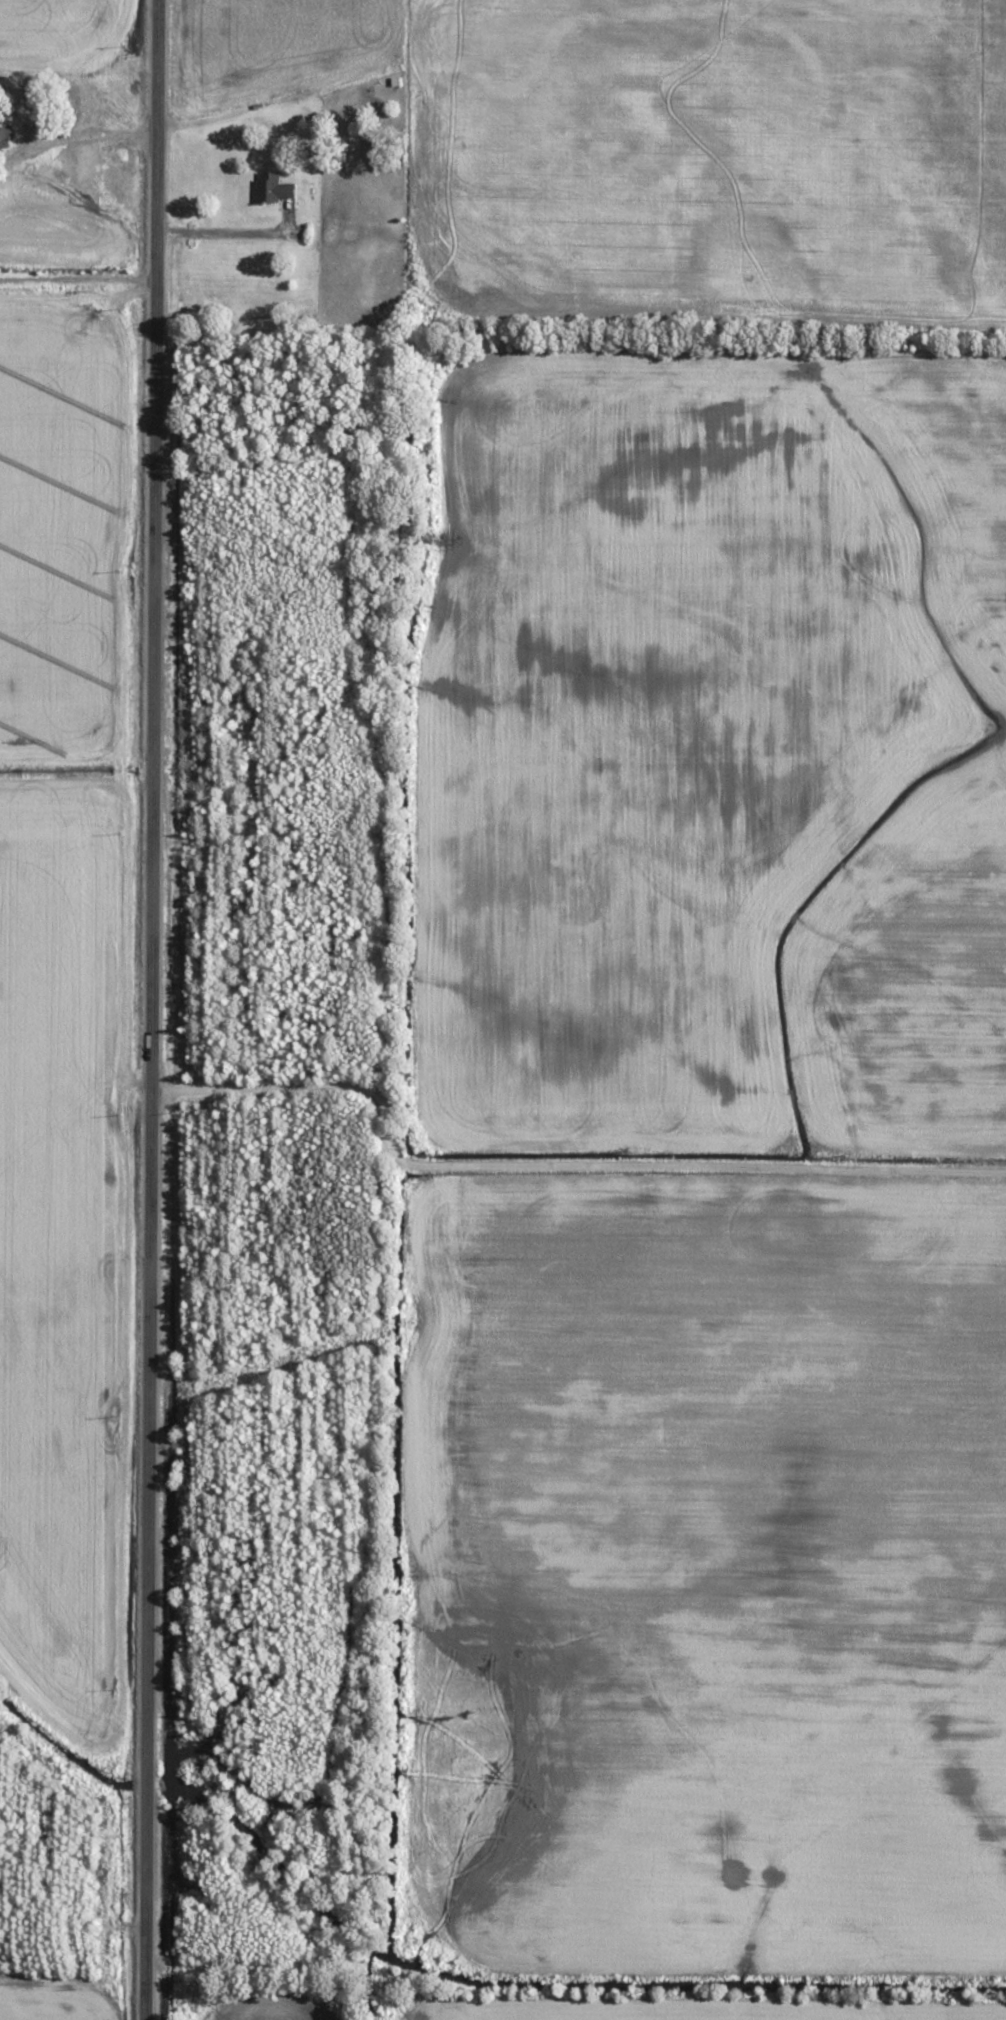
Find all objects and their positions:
road: (73, 132)
building: (6, 136)
building: (275, 188)
road: (224, 225)
road: (75, 281)
road: (142, 1009)
road: (290, 1087)
road: (697, 1184)

